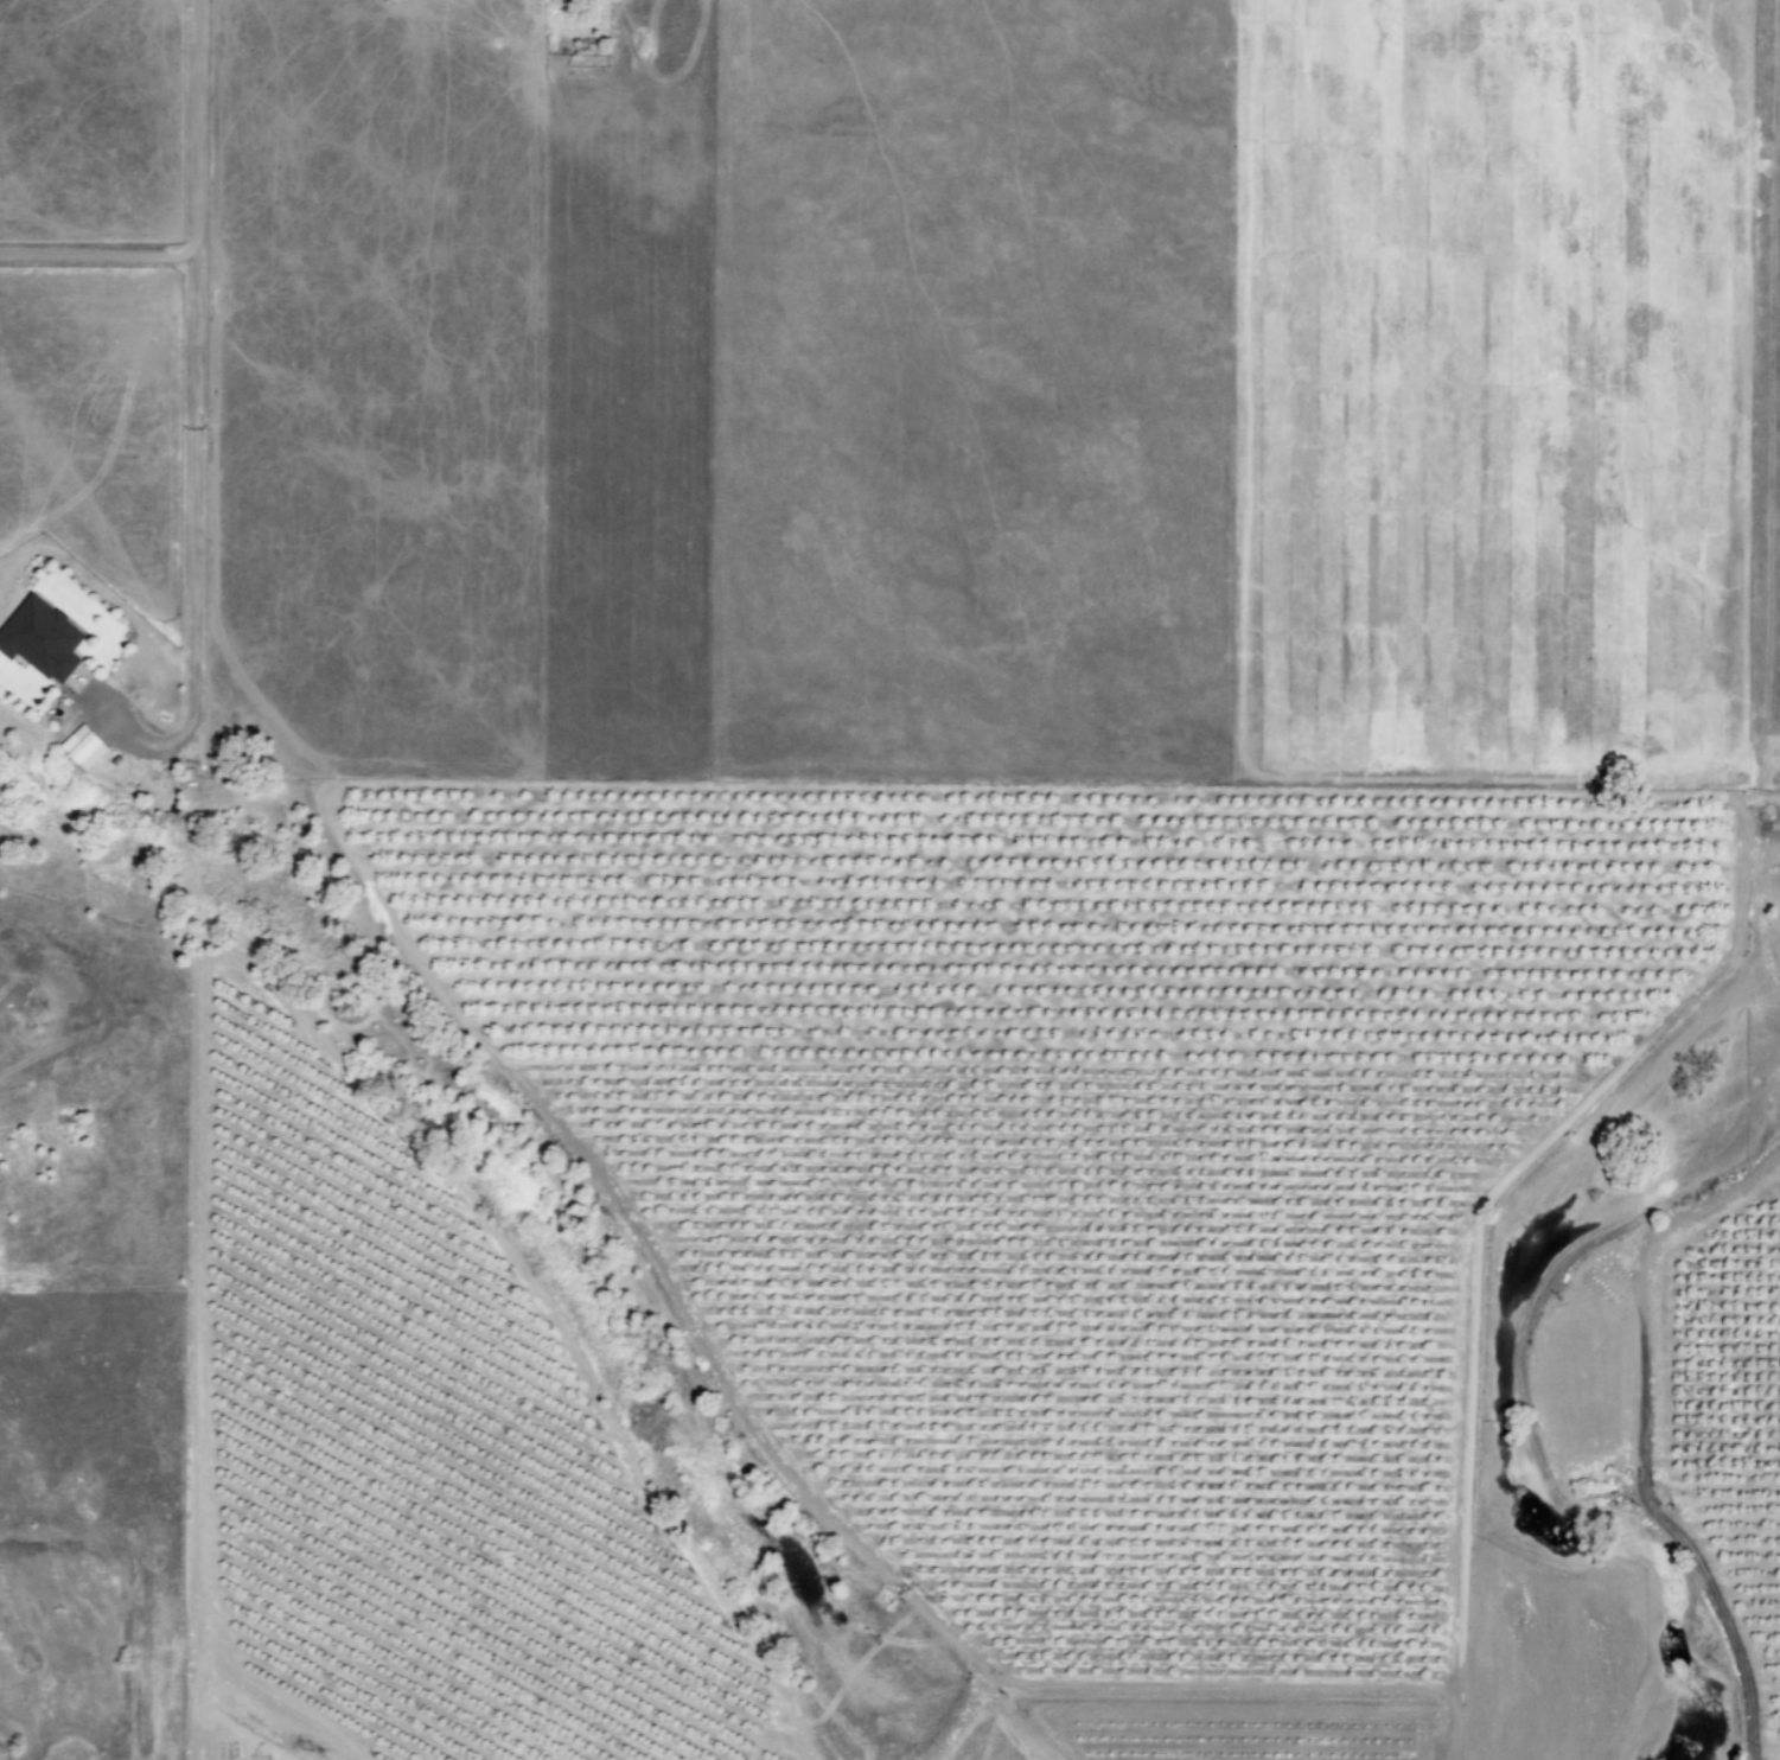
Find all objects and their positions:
road: (98, 254)
road: (196, 370)
crop: (1489, 393)
building: (37, 638)
building: (77, 746)
road: (1549, 1428)

